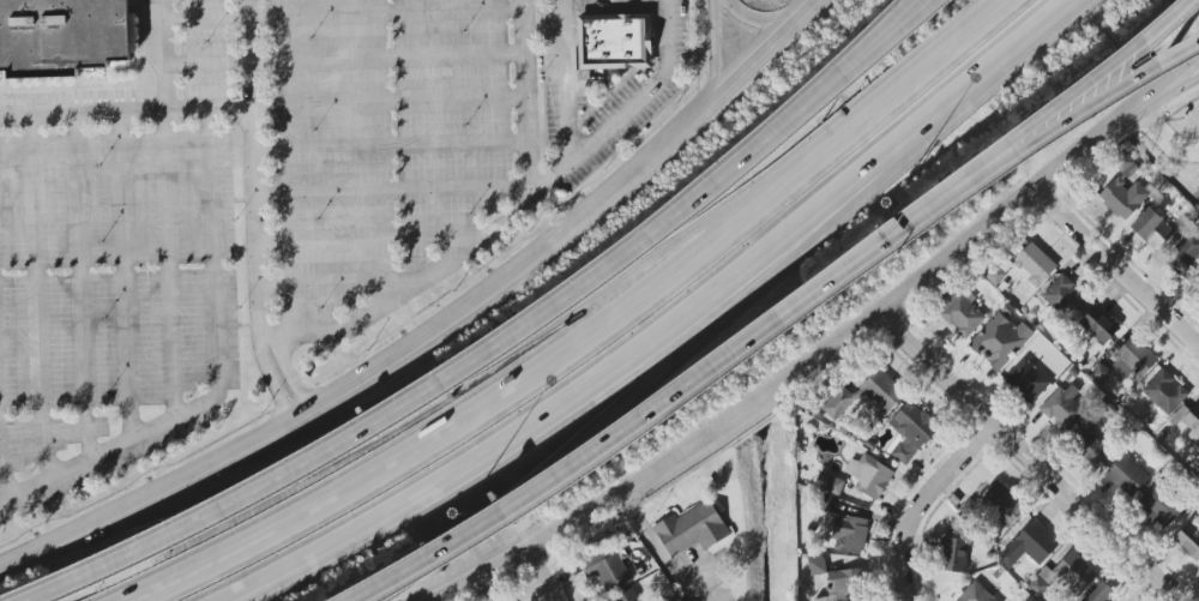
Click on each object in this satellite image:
road: (385, 11)
road: (203, 17)
road: (900, 31)
road: (910, 31)
building: (62, 40)
road: (724, 46)
building: (617, 49)
road: (387, 58)
road: (205, 64)
road: (922, 71)
road: (741, 77)
road: (562, 80)
road: (1175, 86)
road: (645, 95)
road: (1068, 100)
road: (388, 103)
road: (206, 110)
road: (137, 113)
road: (1072, 119)
road: (1161, 143)
road: (390, 149)
road: (252, 166)
road: (550, 176)
road: (391, 191)
building: (1121, 192)
parking lot: (237, 217)
building: (1151, 228)
road: (492, 236)
road: (374, 239)
building: (1185, 254)
road: (1119, 263)
road: (169, 264)
building: (1035, 268)
road: (125, 275)
building: (994, 275)
road: (342, 284)
road: (80, 287)
road: (37, 296)
building: (959, 313)
road: (675, 319)
building: (1096, 327)
building: (999, 341)
road: (837, 347)
building: (1132, 360)
road: (285, 368)
road: (477, 372)
road: (217, 374)
road: (270, 377)
building: (1026, 380)
road: (343, 384)
road: (432, 385)
building: (1163, 392)
road: (506, 393)
building: (866, 396)
road: (632, 398)
road: (658, 408)
building: (1064, 409)
building: (1191, 416)
building: (910, 432)
building: (1090, 450)
road: (1032, 458)
road: (1, 471)
building: (1126, 475)
building: (868, 476)
building: (829, 483)
road: (923, 500)
building: (996, 506)
building: (1158, 507)
building: (691, 529)
building: (848, 534)
building: (1188, 540)
building: (1029, 546)
building: (953, 555)
road: (664, 558)
building: (605, 570)
building: (1064, 576)
road: (549, 578)
building: (837, 581)
building: (1098, 593)
building: (975, 594)
building: (629, 597)

